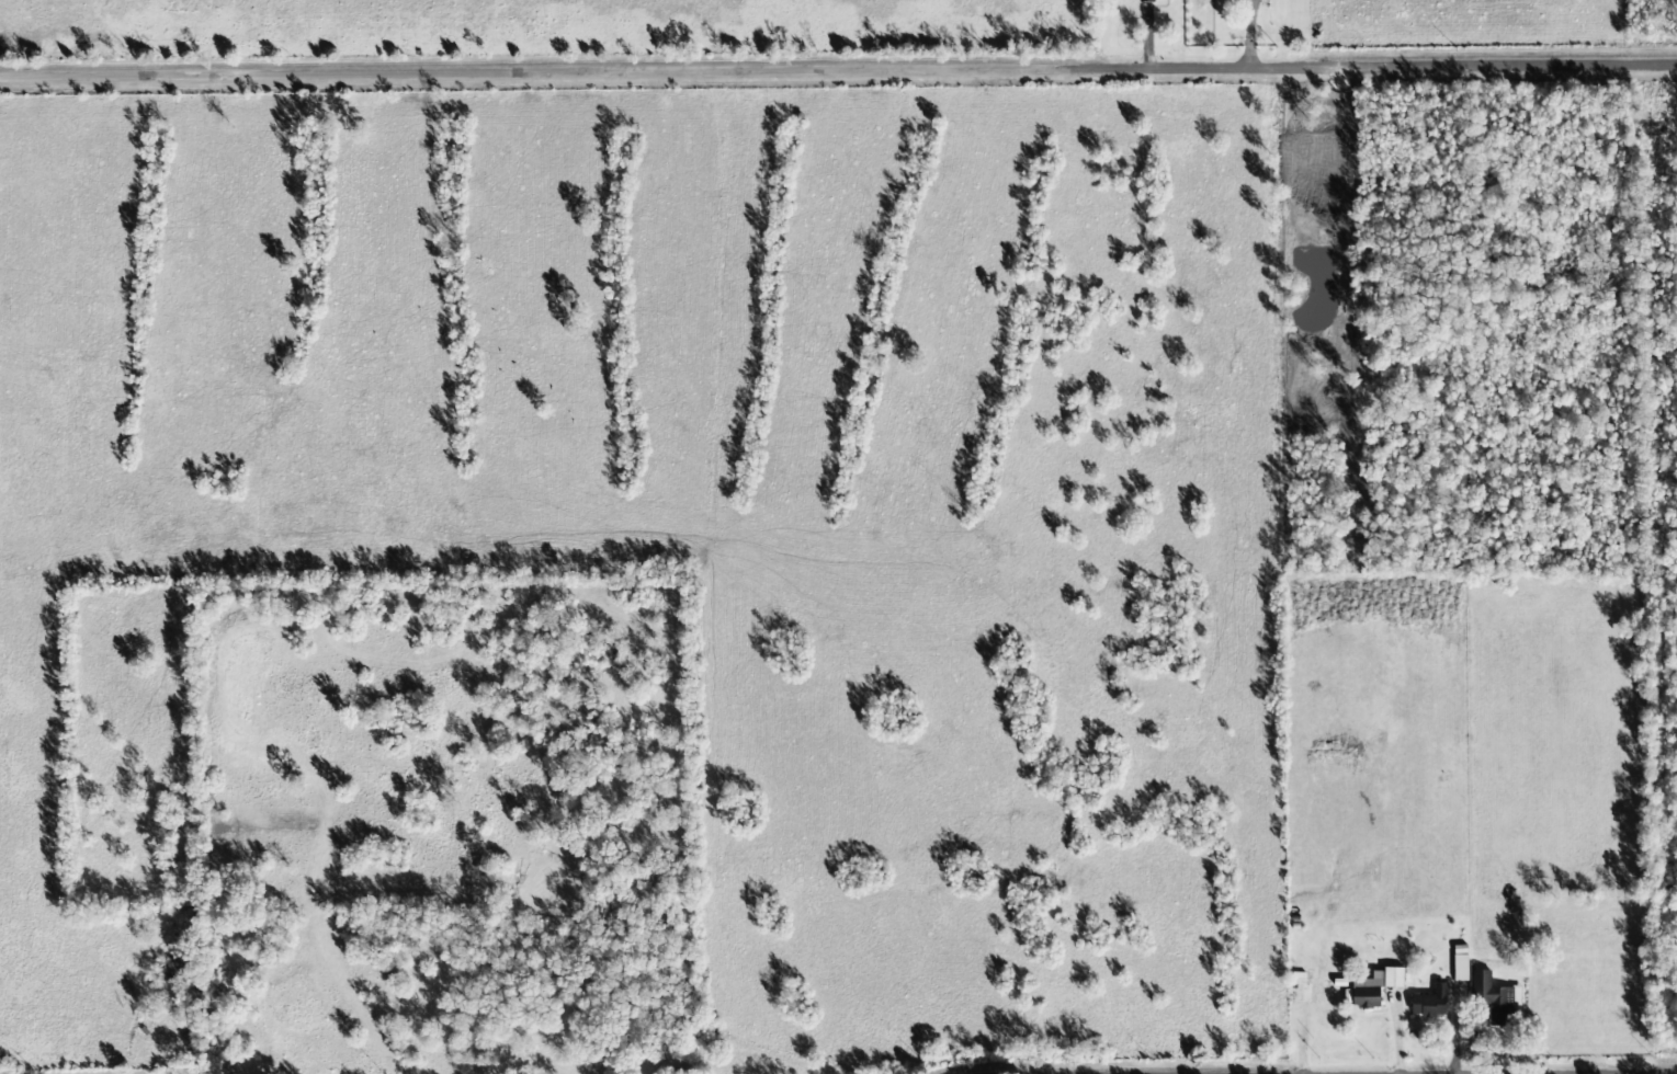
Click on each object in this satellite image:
building: (1146, 0)
road: (838, 70)
building: (1460, 969)
building: (1374, 986)
building: (1491, 996)
building: (1429, 1003)

